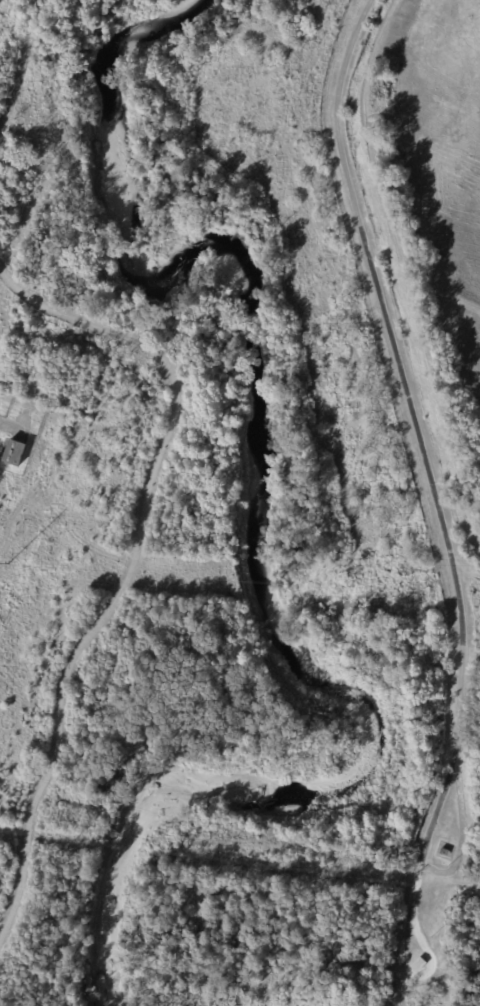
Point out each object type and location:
road: (0, 1)
road: (20, 61)
wastewater plant: (430, 203)
road: (403, 259)
road: (405, 381)
building: (15, 453)
road: (130, 559)
power tower: (7, 564)
building: (443, 851)
road: (439, 870)
road: (407, 928)
building: (419, 964)

